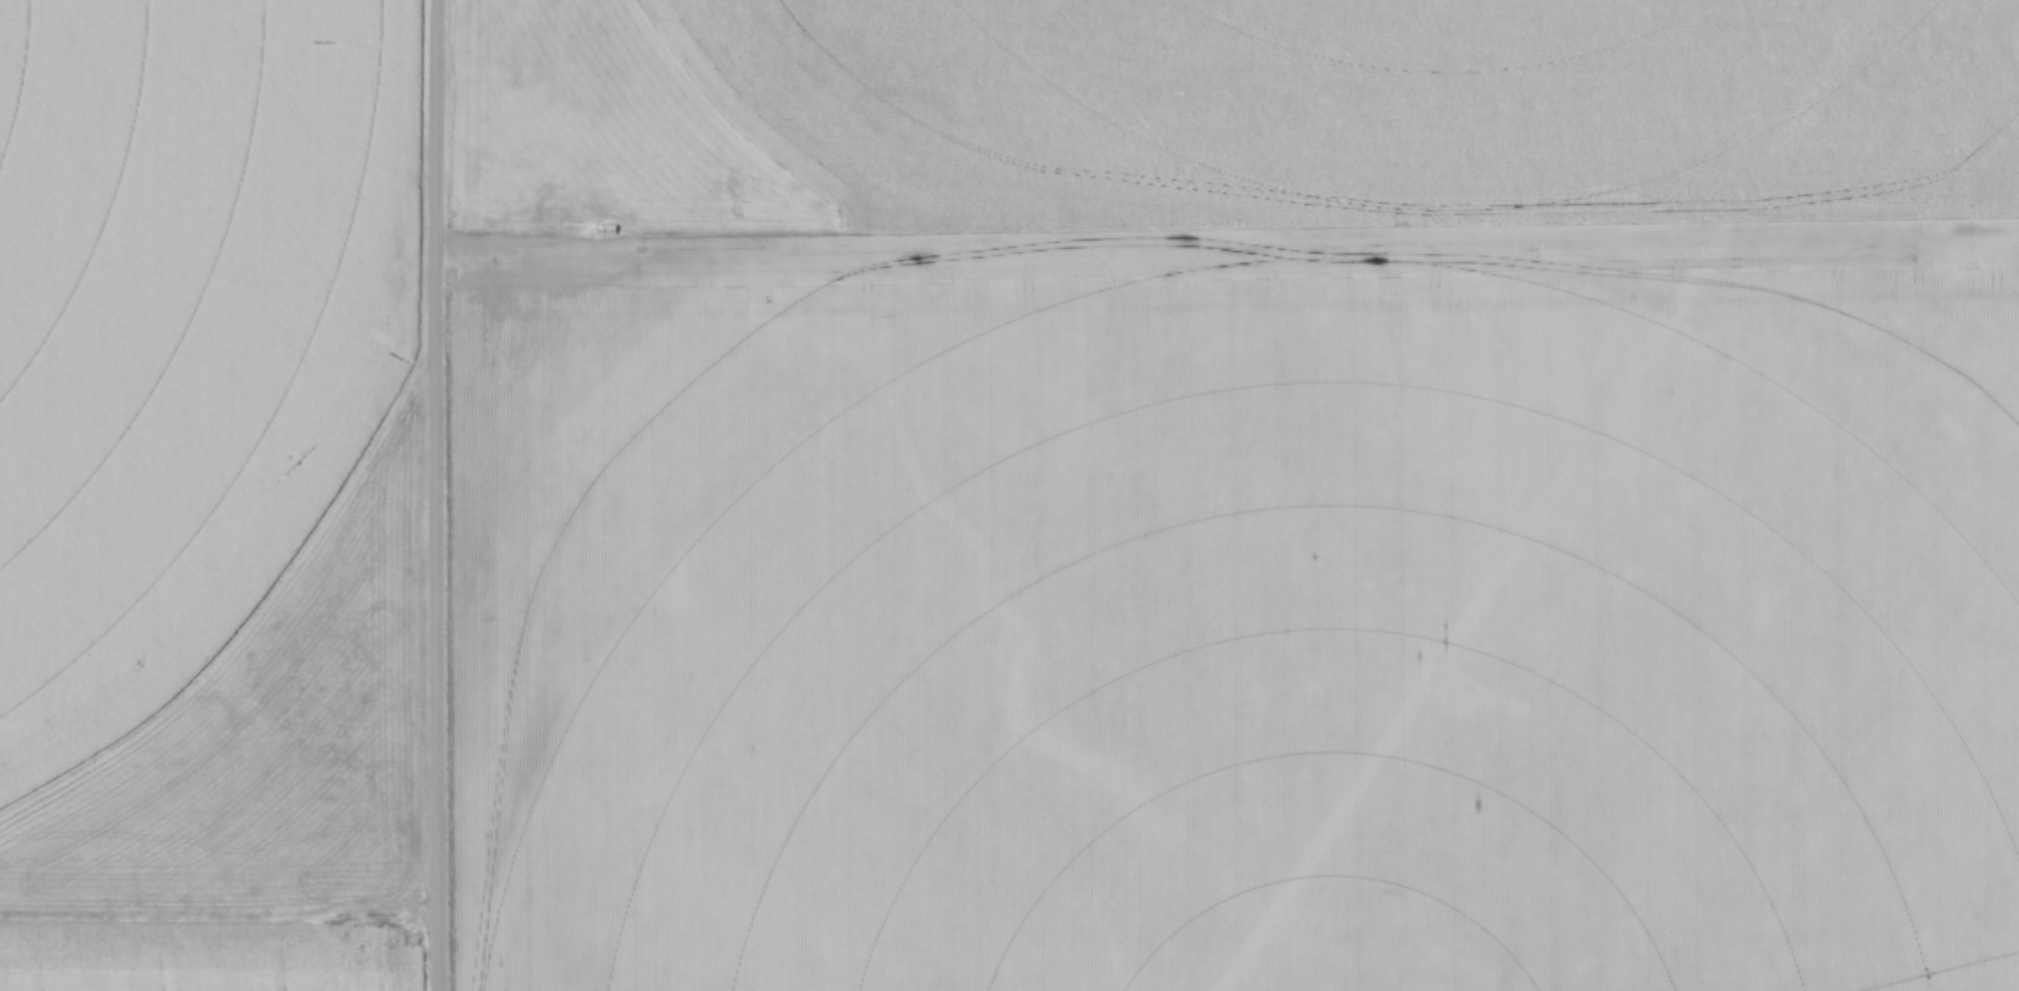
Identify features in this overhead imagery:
road: (432, 495)

